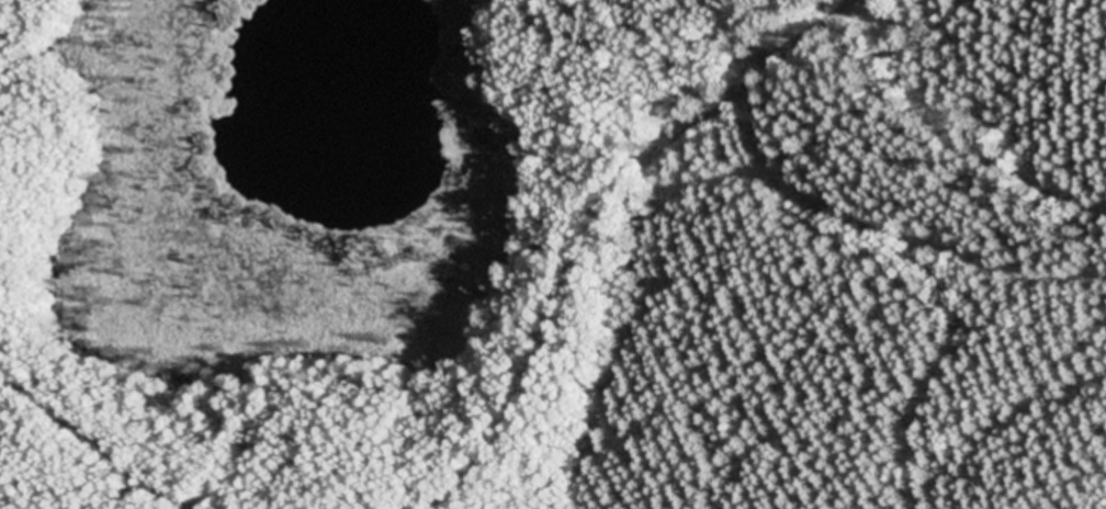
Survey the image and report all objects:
road: (914, 246)
road: (555, 247)
road: (99, 449)

